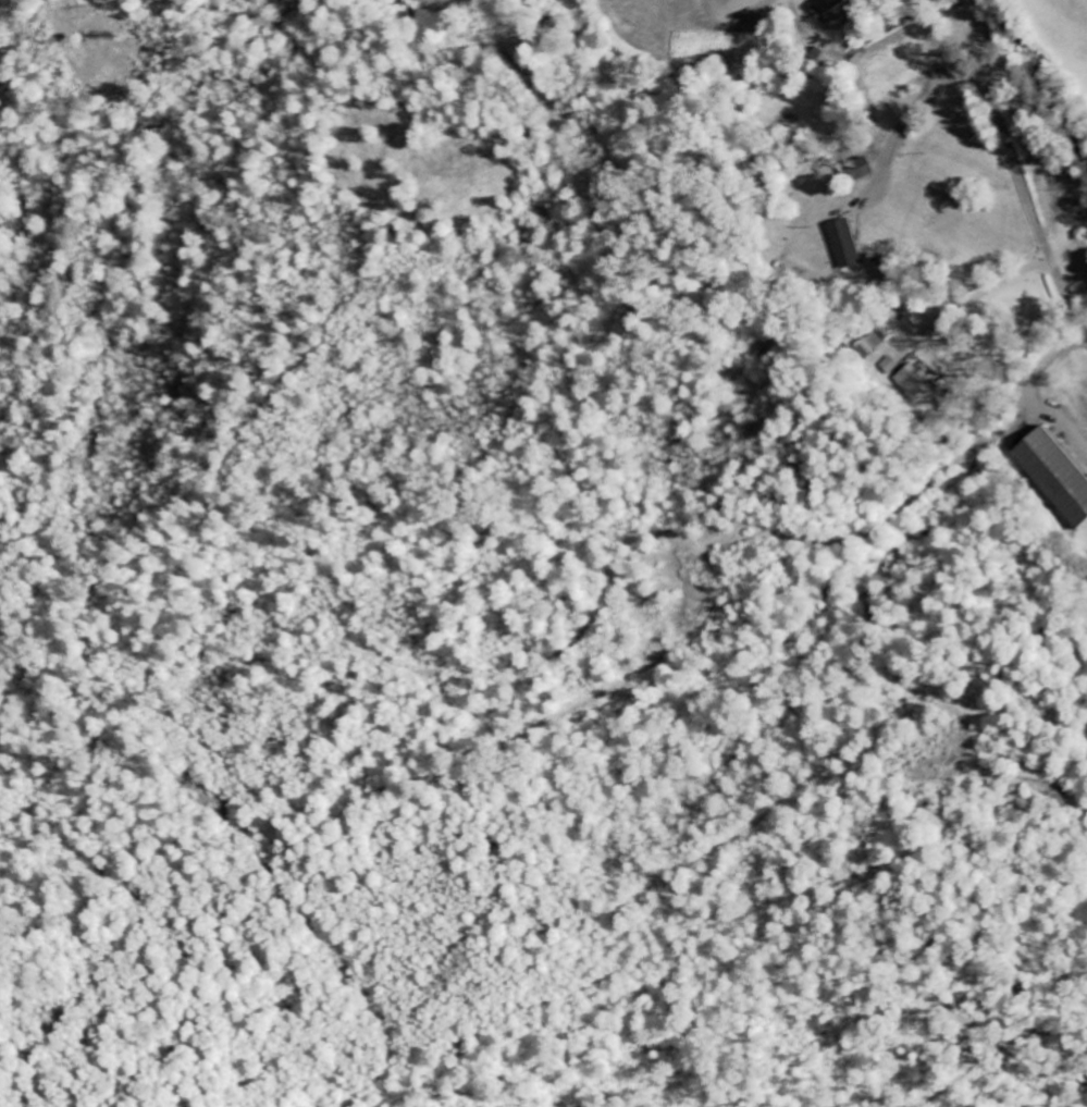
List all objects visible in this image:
road: (1014, 158)
building: (845, 244)
building: (889, 366)
building: (913, 380)
road: (644, 468)
building: (1055, 475)

